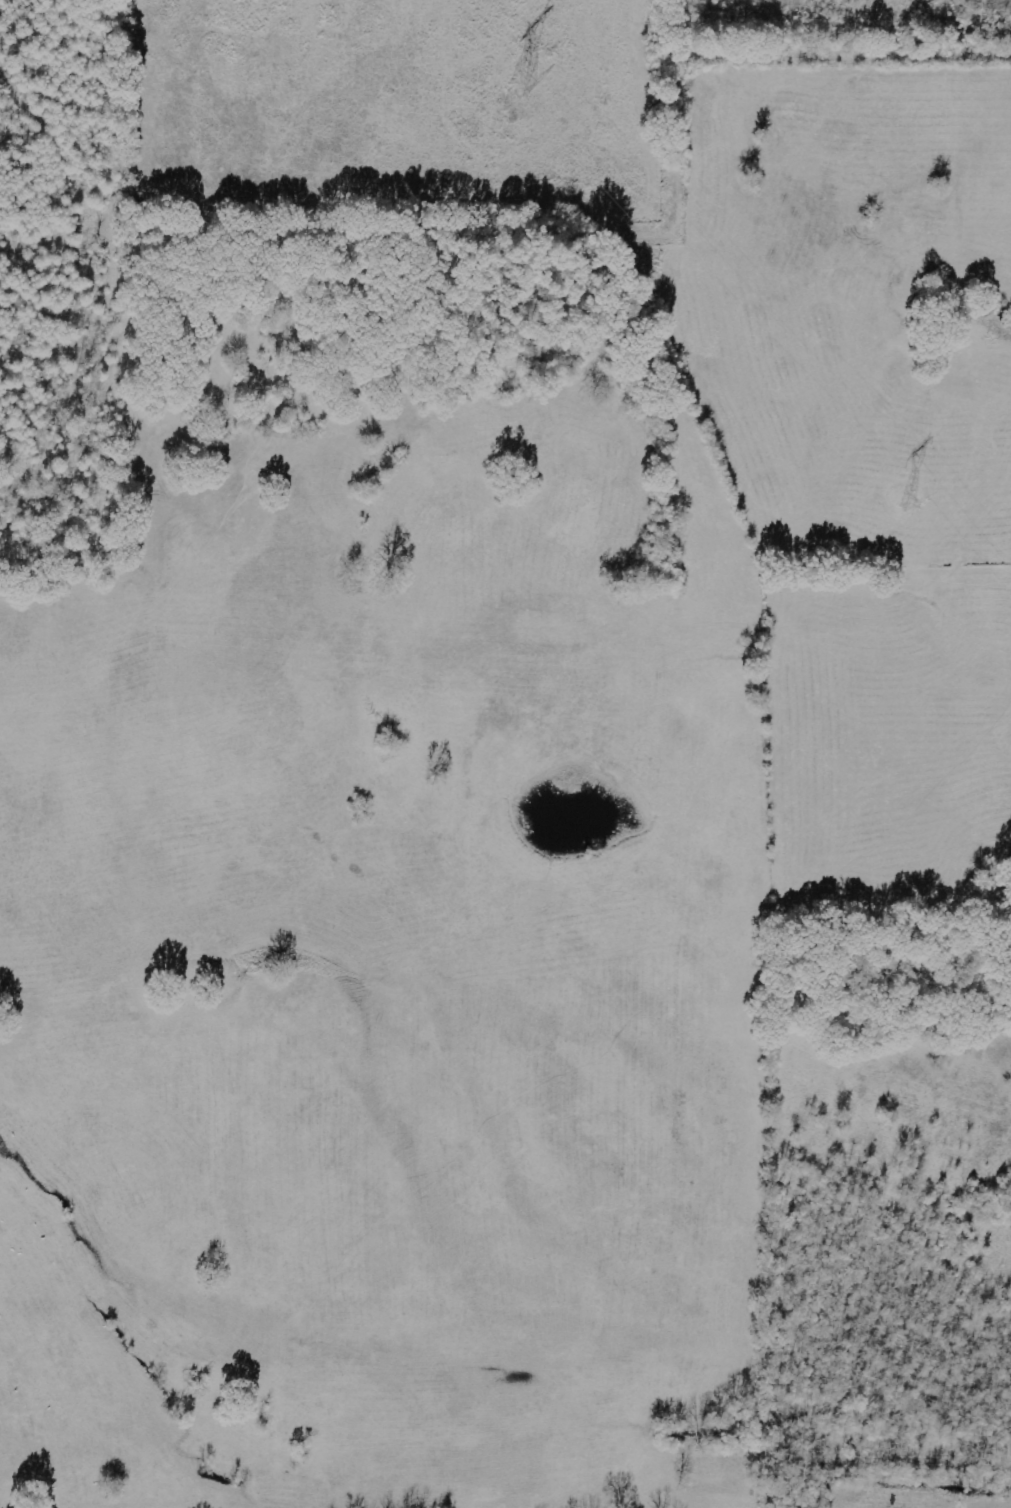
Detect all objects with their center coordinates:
power tower: (528, 83)
power tower: (915, 504)

